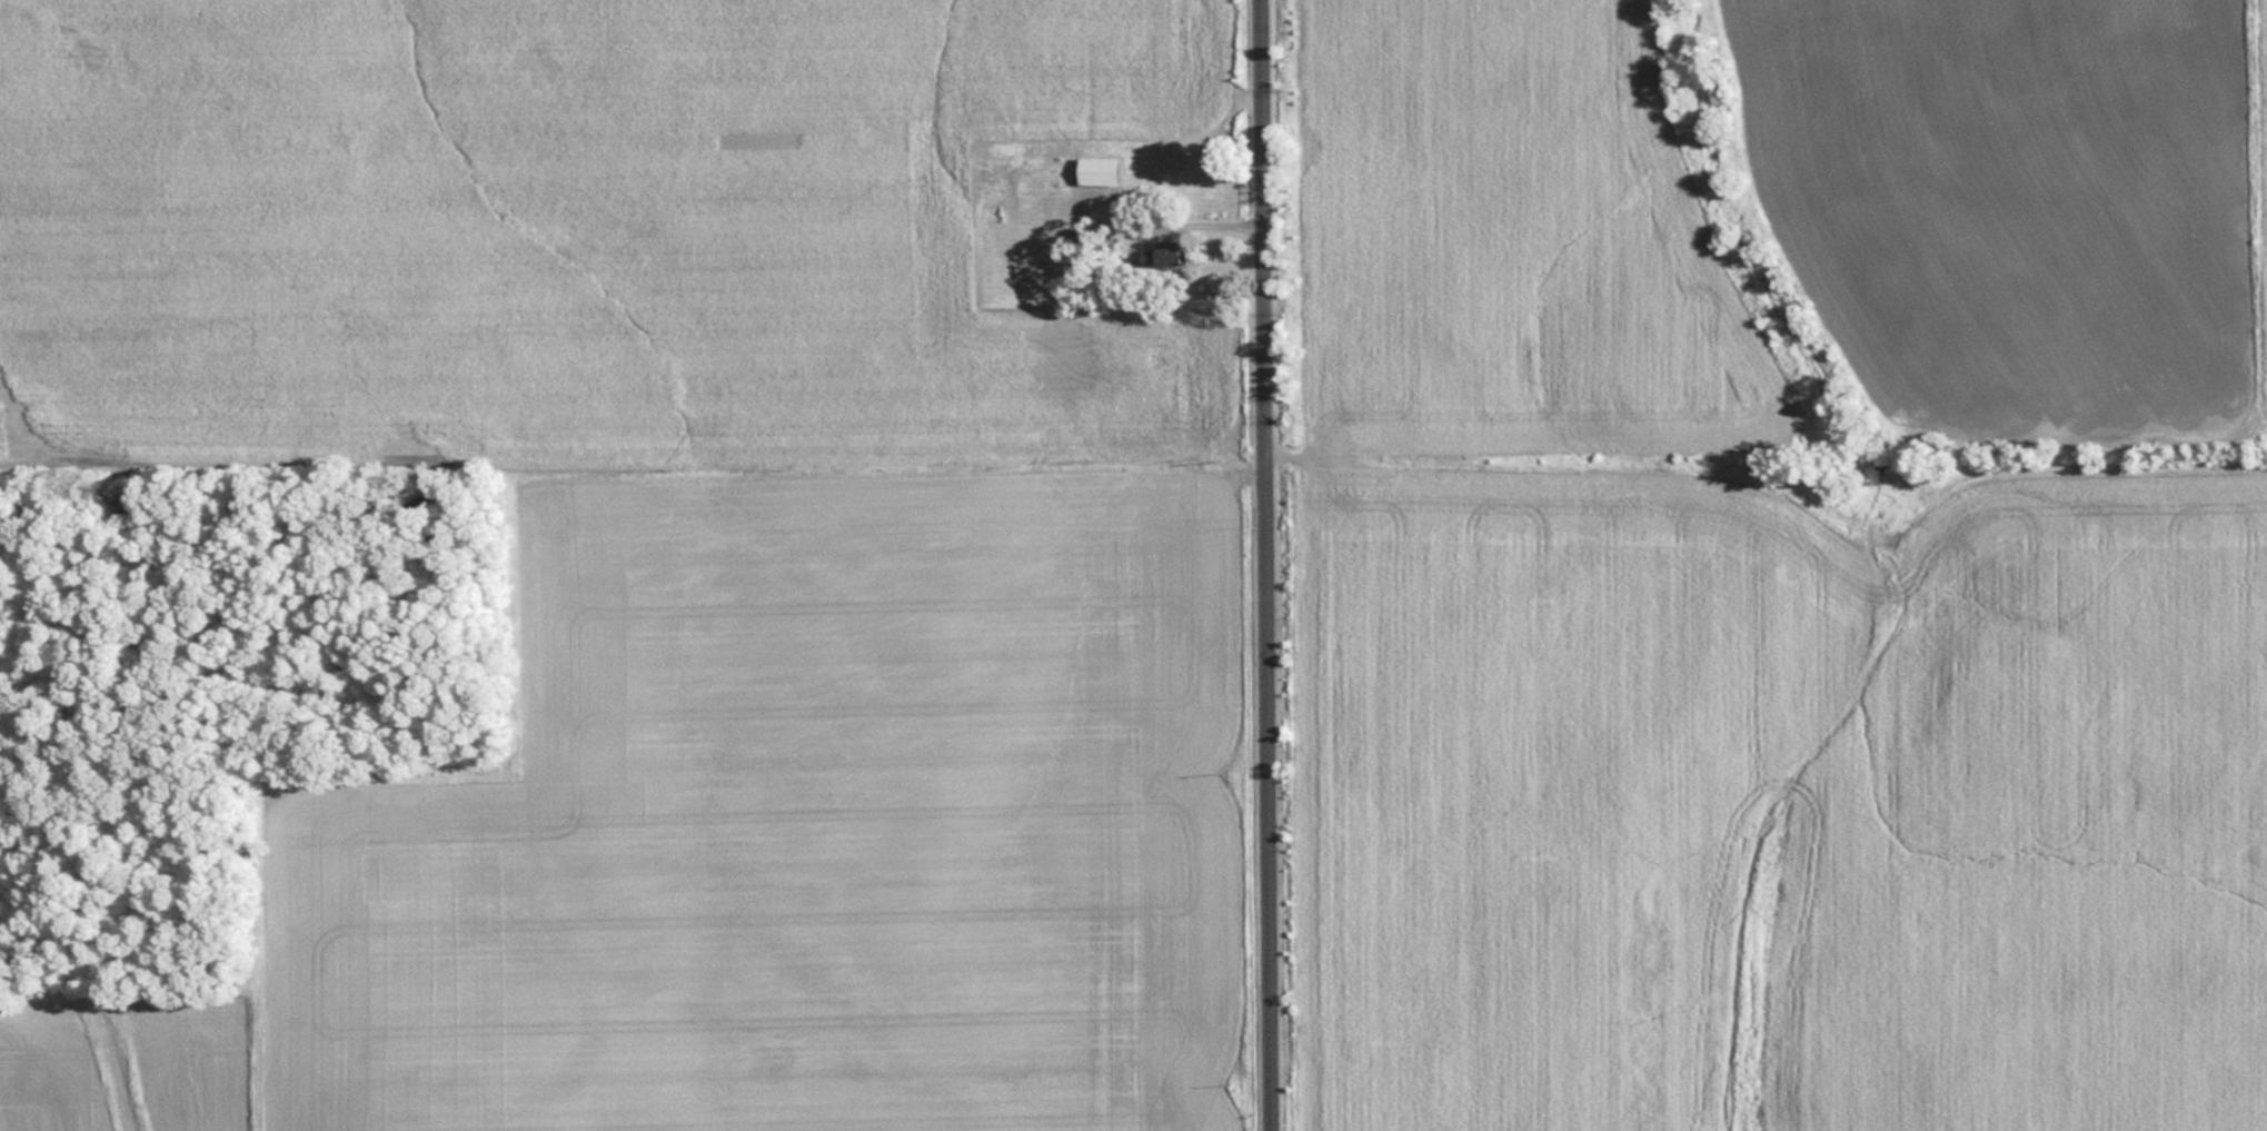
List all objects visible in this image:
building: (1025, 199)
road: (1093, 201)
building: (1163, 252)
road: (1267, 565)

